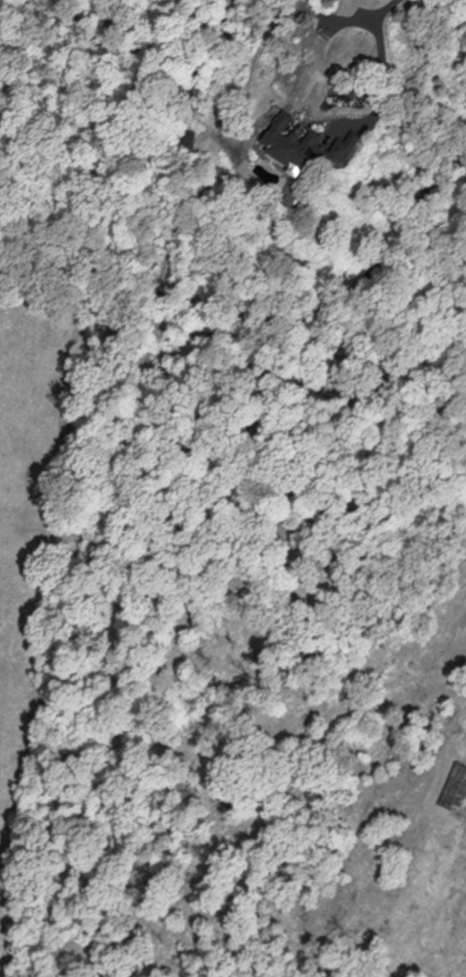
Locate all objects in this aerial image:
road: (371, 29)
building: (307, 145)
road: (361, 667)
building: (456, 786)

